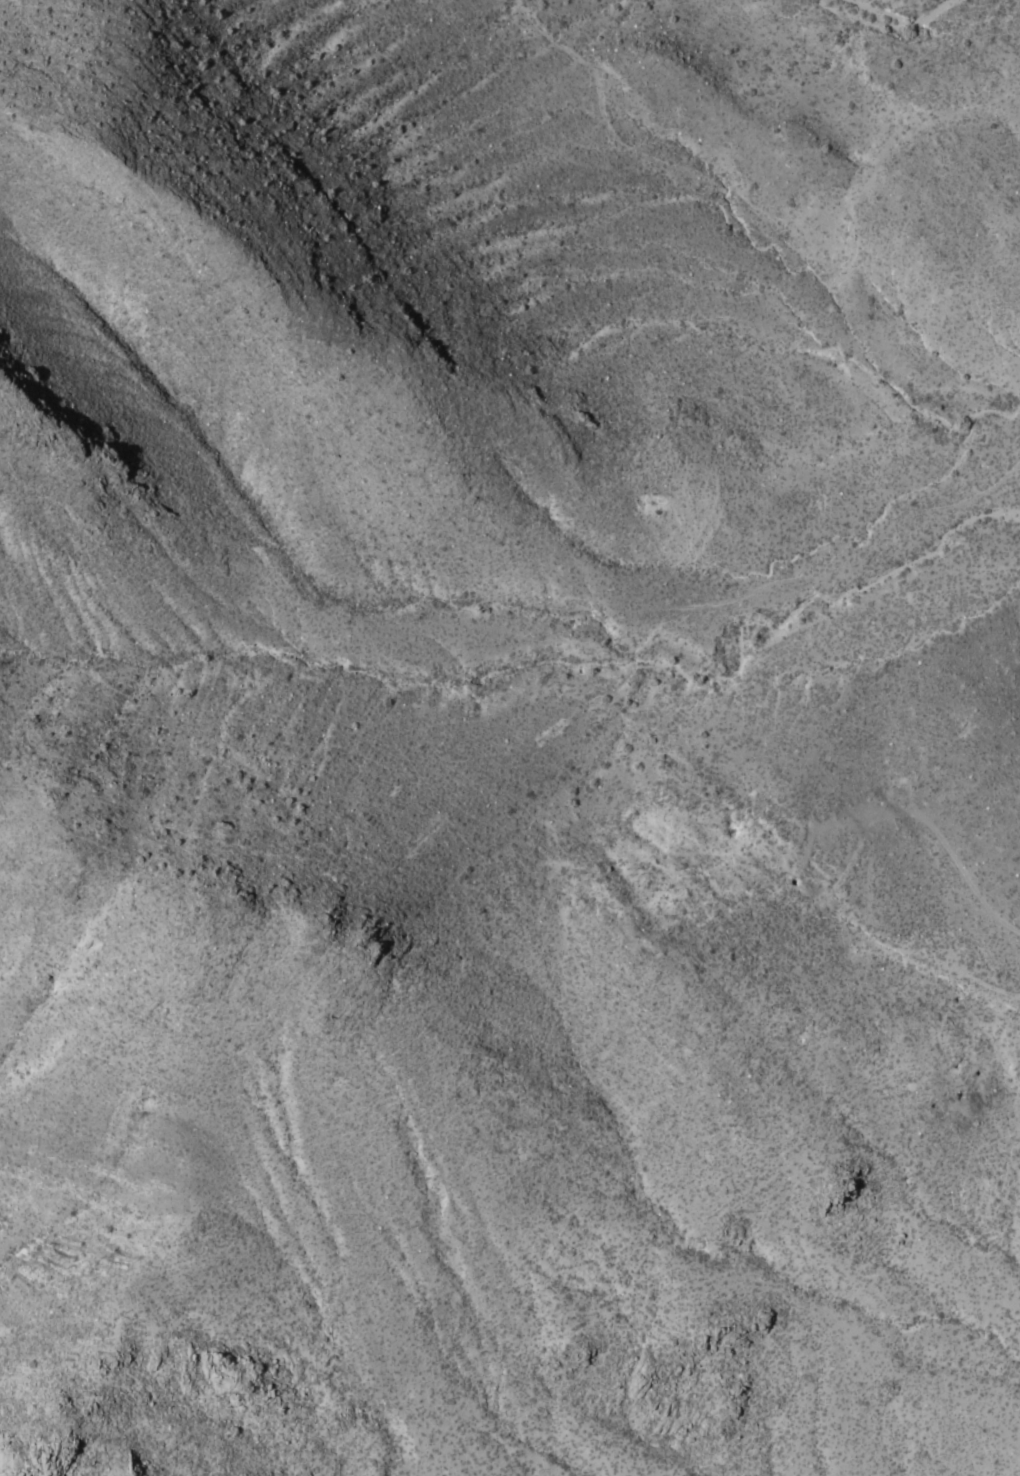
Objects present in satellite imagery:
road: (835, 568)
mineshaft: (802, 859)
road: (965, 873)
road: (911, 953)

